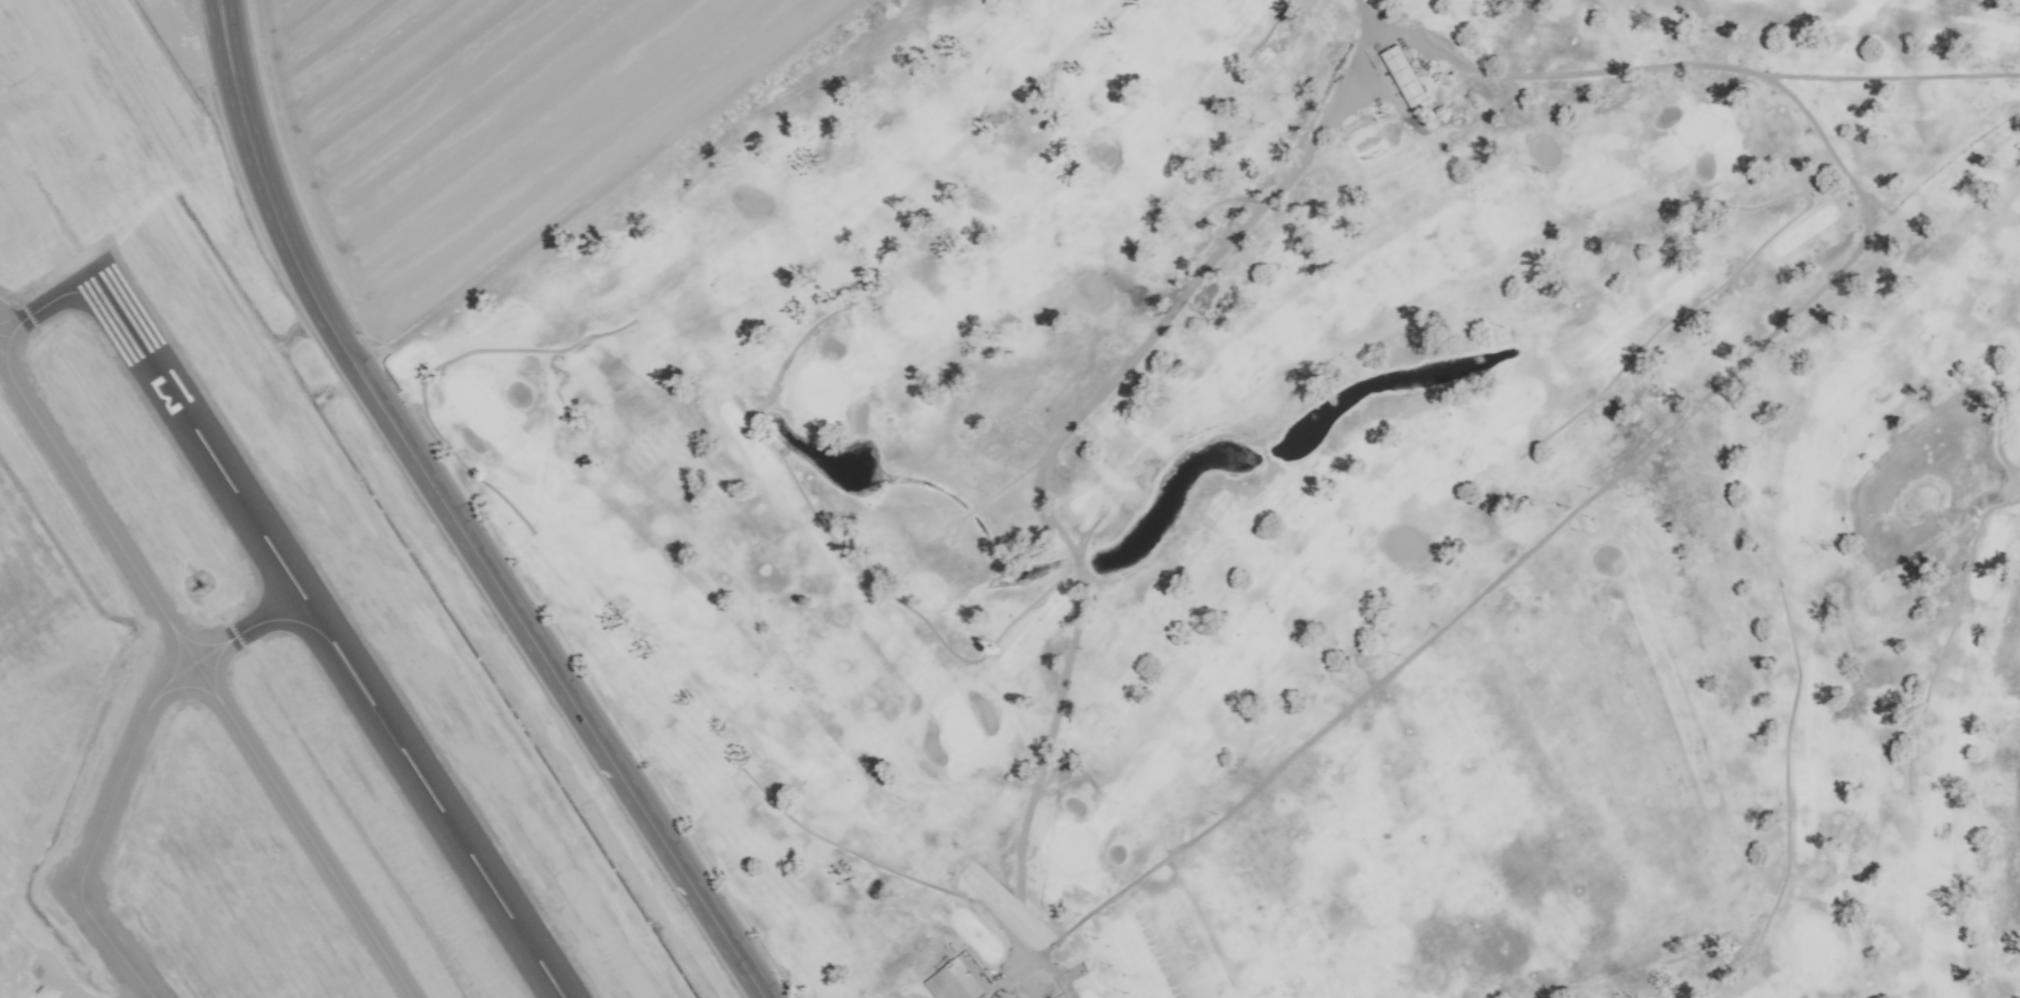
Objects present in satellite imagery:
building: (1402, 75)
road: (1653, 440)
park: (1303, 496)
road: (450, 516)
airport: (249, 618)
airport taxiway: (167, 624)
airport runway: (326, 635)
airport taxiway: (126, 760)
building: (952, 981)
building: (1050, 997)

